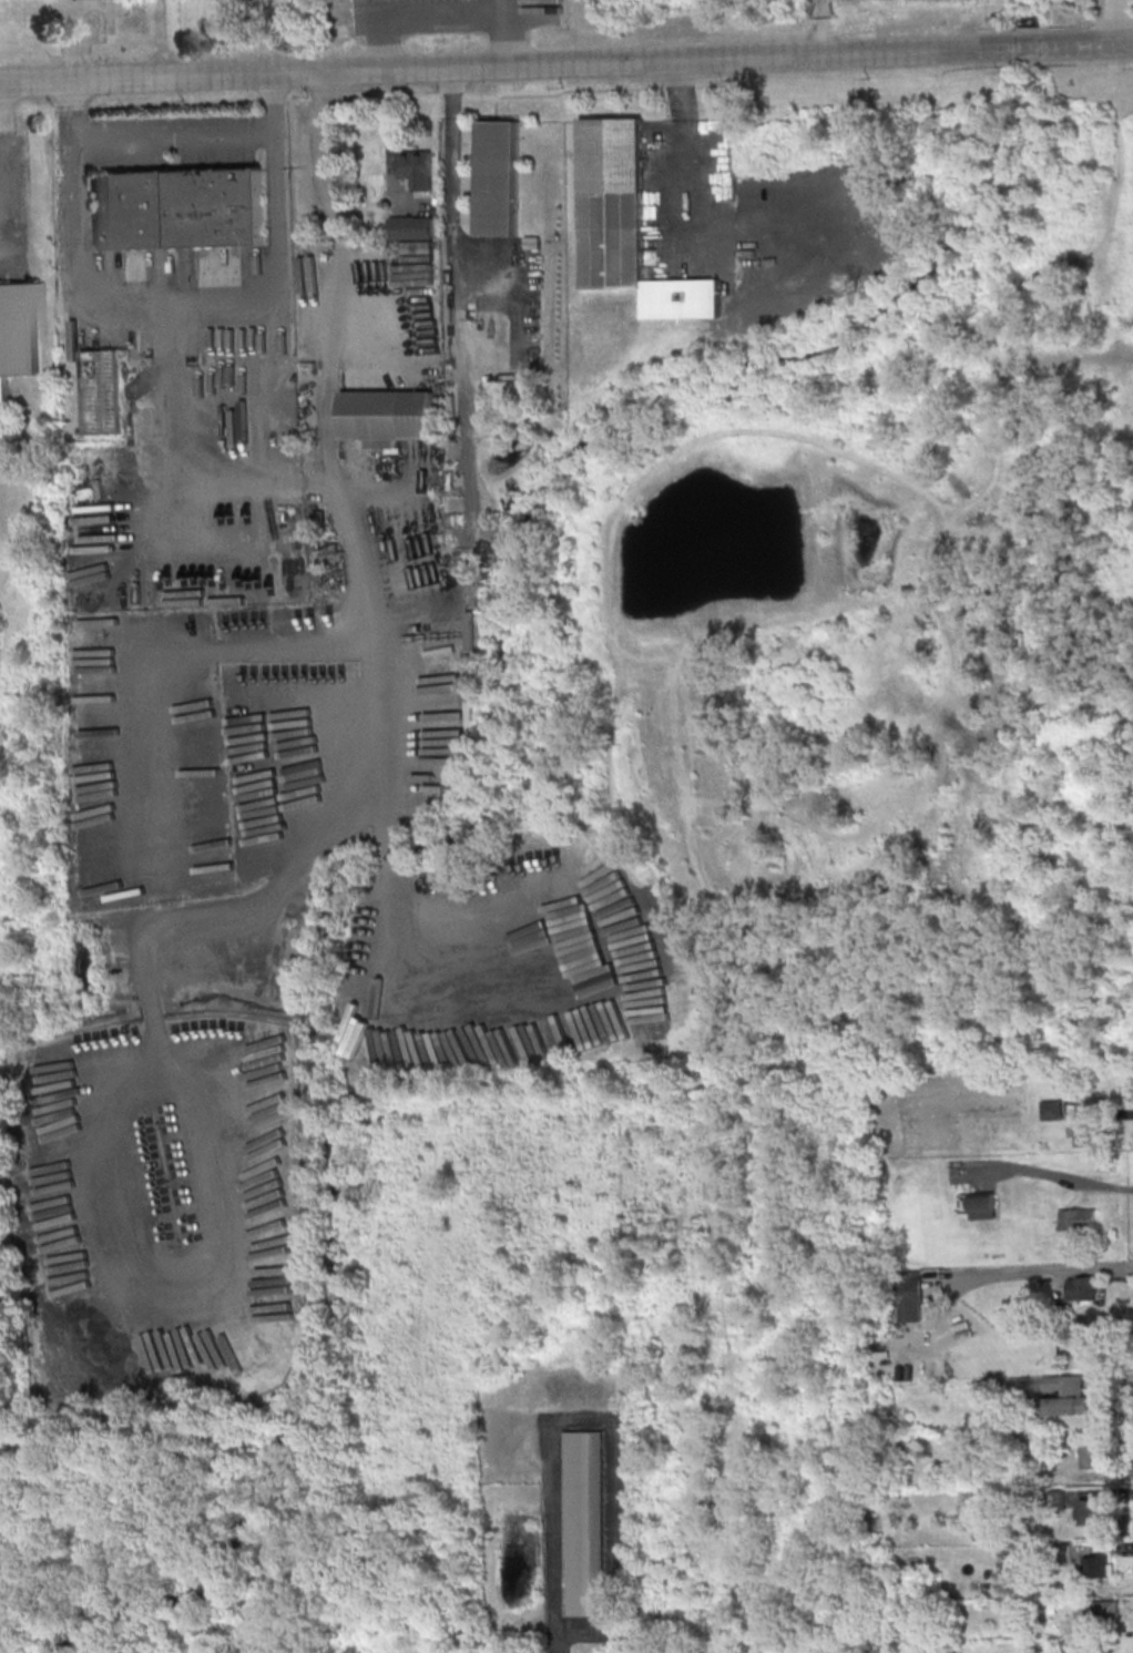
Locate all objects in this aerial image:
road: (503, 4)
road: (374, 8)
road: (441, 12)
road: (1121, 22)
road: (1085, 44)
road: (519, 64)
road: (173, 140)
road: (390, 144)
road: (685, 164)
road: (3, 166)
building: (416, 169)
building: (497, 177)
parking lot: (688, 200)
building: (178, 207)
road: (451, 222)
building: (626, 224)
building: (410, 227)
road: (182, 296)
building: (17, 341)
building: (101, 391)
building: (387, 417)
road: (154, 782)
building: (1050, 1110)
building: (1079, 1135)
road: (1055, 1175)
building: (1075, 1218)
road: (1039, 1271)
building: (1080, 1288)
building: (909, 1296)
building: (1054, 1394)
building: (1090, 1455)
building: (1090, 1511)
building: (583, 1524)
building: (1096, 1567)
building: (1092, 1618)

